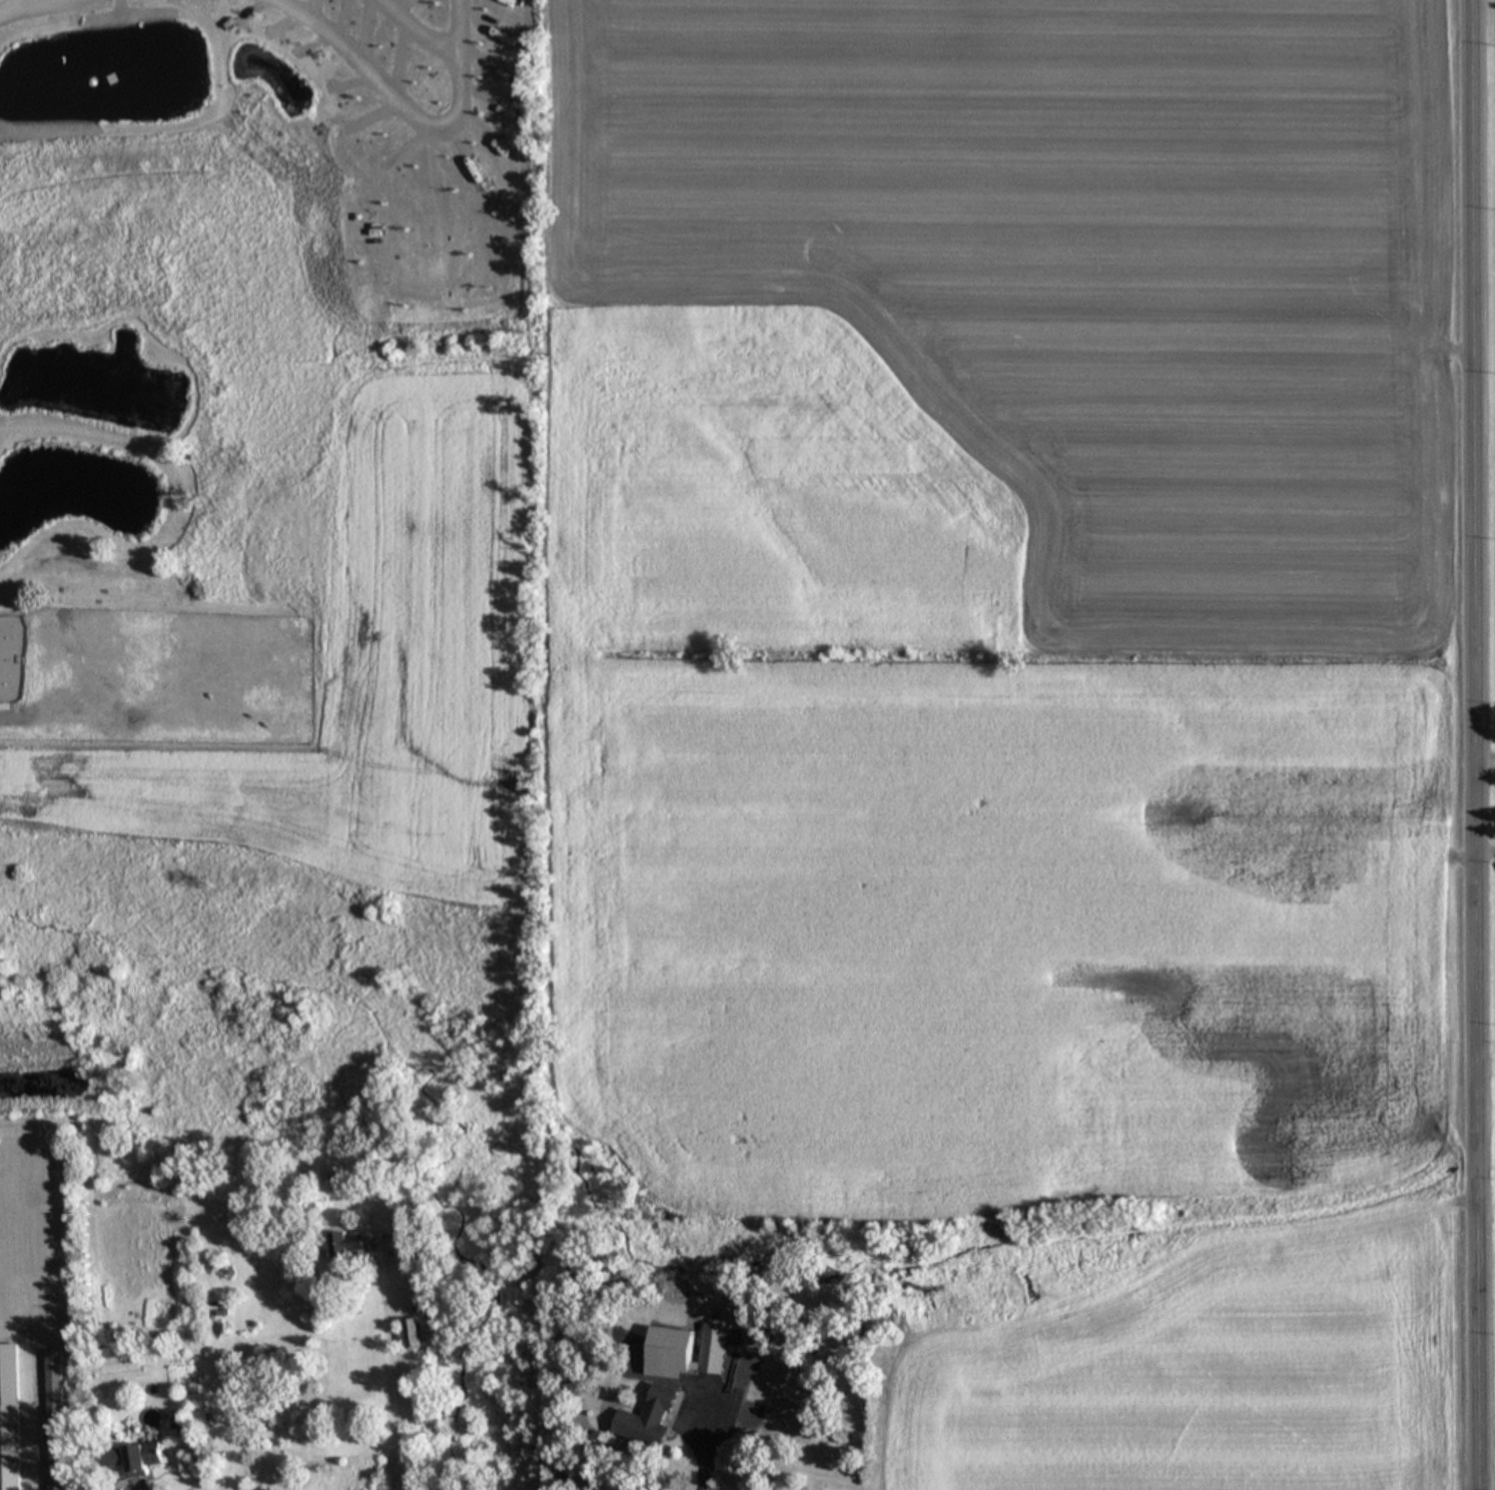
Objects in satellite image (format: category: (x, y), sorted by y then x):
road: (38, 3)
road: (14, 9)
road: (421, 32)
road: (461, 64)
road: (364, 66)
building: (164, 653)
road: (1474, 745)
road: (1485, 846)
building: (352, 1246)
building: (414, 1335)
building: (688, 1354)
road: (397, 1382)
road: (34, 1415)
building: (651, 1421)
building: (53, 1422)
road: (709, 1447)
building: (8, 1449)
building: (136, 1460)
road: (136, 1487)

